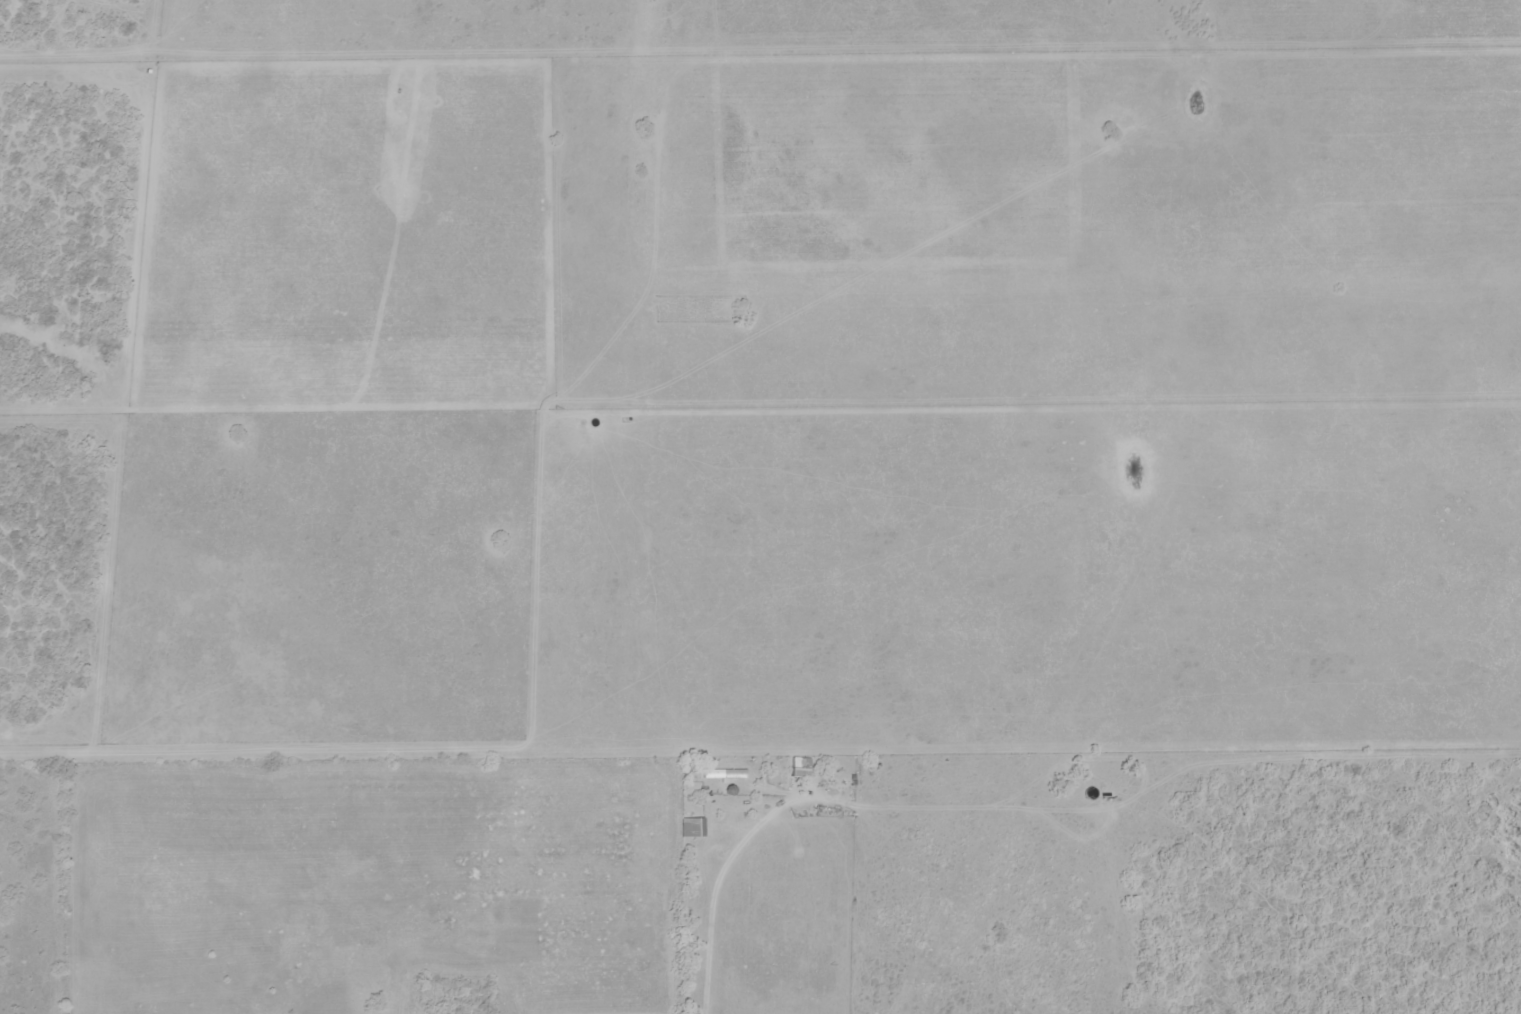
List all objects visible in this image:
building: (798, 767)
building: (722, 773)
building: (691, 826)

